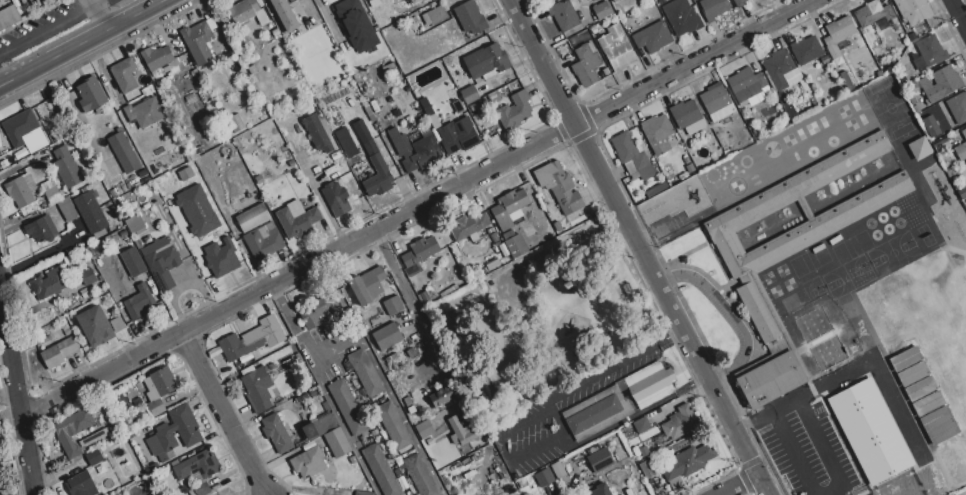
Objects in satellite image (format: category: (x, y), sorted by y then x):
building: (615, 1)
road: (97, 2)
building: (378, 3)
building: (739, 3)
building: (276, 6)
building: (713, 8)
building: (601, 10)
building: (912, 10)
building: (247, 12)
building: (564, 14)
building: (875, 14)
road: (101, 15)
road: (957, 15)
building: (435, 16)
building: (8, 17)
building: (681, 17)
building: (298, 18)
road: (329, 19)
building: (467, 19)
building: (355, 25)
road: (47, 29)
building: (594, 30)
building: (921, 30)
building: (275, 32)
building: (838, 32)
building: (912, 36)
building: (653, 37)
building: (201, 40)
road: (80, 42)
building: (616, 48)
building: (806, 52)
building: (928, 53)
building: (159, 58)
building: (449, 59)
building: (486, 61)
road: (695, 62)
building: (586, 64)
building: (252, 69)
building: (389, 69)
building: (605, 71)
building: (783, 71)
building: (124, 75)
building: (363, 78)
building: (508, 81)
building: (746, 84)
building: (939, 84)
building: (848, 85)
building: (91, 94)
building: (469, 94)
building: (131, 95)
building: (493, 98)
building: (247, 102)
building: (481, 102)
building: (716, 102)
building: (457, 106)
building: (786, 106)
building: (474, 107)
building: (958, 108)
building: (514, 111)
building: (145, 112)
building: (687, 117)
building: (432, 119)
building: (236, 123)
building: (931, 126)
building: (24, 132)
building: (964, 133)
building: (317, 134)
building: (657, 134)
building: (458, 135)
building: (954, 135)
building: (136, 139)
road: (583, 141)
building: (345, 142)
building: (941, 144)
building: (0, 145)
building: (920, 149)
building: (416, 151)
building: (961, 151)
building: (123, 153)
building: (16, 158)
building: (631, 159)
building: (686, 160)
building: (965, 163)
building: (291, 164)
building: (66, 167)
building: (690, 167)
building: (357, 171)
building: (375, 171)
building: (142, 174)
building: (259, 179)
building: (559, 186)
building: (116, 187)
building: (656, 189)
building: (21, 190)
building: (962, 192)
building: (52, 194)
building: (334, 196)
building: (675, 201)
road: (321, 203)
building: (509, 208)
building: (67, 209)
building: (90, 212)
building: (219, 214)
building: (252, 218)
building: (297, 219)
building: (135, 224)
building: (468, 225)
building: (41, 230)
building: (123, 234)
building: (189, 235)
building: (494, 237)
building: (798, 238)
building: (147, 240)
building: (264, 241)
building: (138, 244)
building: (514, 244)
building: (497, 249)
building: (504, 250)
building: (420, 252)
road: (42, 253)
building: (222, 257)
building: (132, 262)
building: (161, 262)
building: (492, 264)
road: (298, 270)
building: (87, 276)
building: (49, 283)
building: (366, 285)
building: (84, 293)
building: (424, 296)
building: (140, 303)
building: (393, 305)
building: (318, 311)
road: (415, 312)
road: (729, 314)
road: (290, 321)
building: (449, 321)
building: (117, 324)
building: (94, 326)
park: (561, 328)
building: (67, 331)
road: (669, 334)
building: (387, 336)
road: (347, 340)
building: (821, 340)
building: (241, 345)
building: (263, 349)
building: (58, 352)
building: (215, 352)
park: (926, 354)
building: (904, 358)
building: (248, 363)
road: (602, 371)
building: (365, 373)
building: (911, 373)
building: (772, 378)
road: (883, 380)
building: (489, 383)
road: (820, 383)
building: (159, 384)
building: (651, 384)
building: (919, 388)
building: (258, 389)
road: (712, 389)
building: (314, 393)
building: (441, 396)
road: (17, 398)
building: (407, 401)
building: (137, 402)
building: (926, 403)
building: (348, 406)
building: (156, 407)
building: (411, 409)
road: (637, 412)
road: (222, 413)
building: (594, 414)
building: (830, 420)
building: (679, 422)
road: (557, 423)
building: (393, 425)
building: (641, 425)
building: (938, 425)
building: (320, 426)
building: (424, 428)
building: (72, 431)
building: (460, 432)
building: (189, 433)
building: (276, 433)
road: (781, 435)
building: (93, 438)
building: (337, 442)
building: (427, 442)
road: (504, 450)
building: (643, 451)
building: (94, 457)
building: (600, 460)
building: (308, 462)
building: (688, 462)
building: (197, 466)
building: (648, 468)
building: (558, 469)
building: (381, 470)
building: (420, 475)
building: (543, 477)
building: (81, 485)
road: (738, 485)
building: (0, 486)
building: (202, 489)
building: (509, 489)
building: (601, 490)
building: (1, 493)
building: (362, 493)

